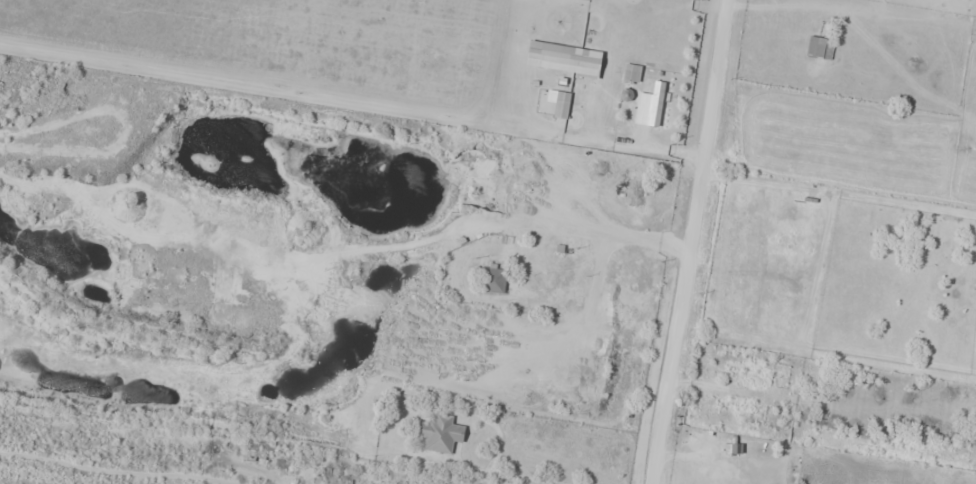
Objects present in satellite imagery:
building: (821, 47)
building: (632, 73)
building: (659, 101)
building: (563, 104)
road: (682, 241)
building: (495, 278)
building: (441, 432)

